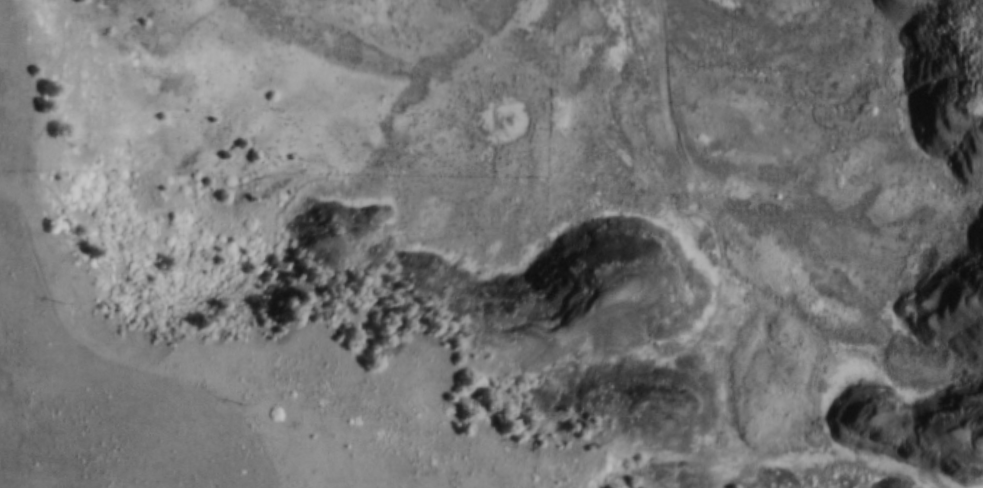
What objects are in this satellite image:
road: (726, 315)

